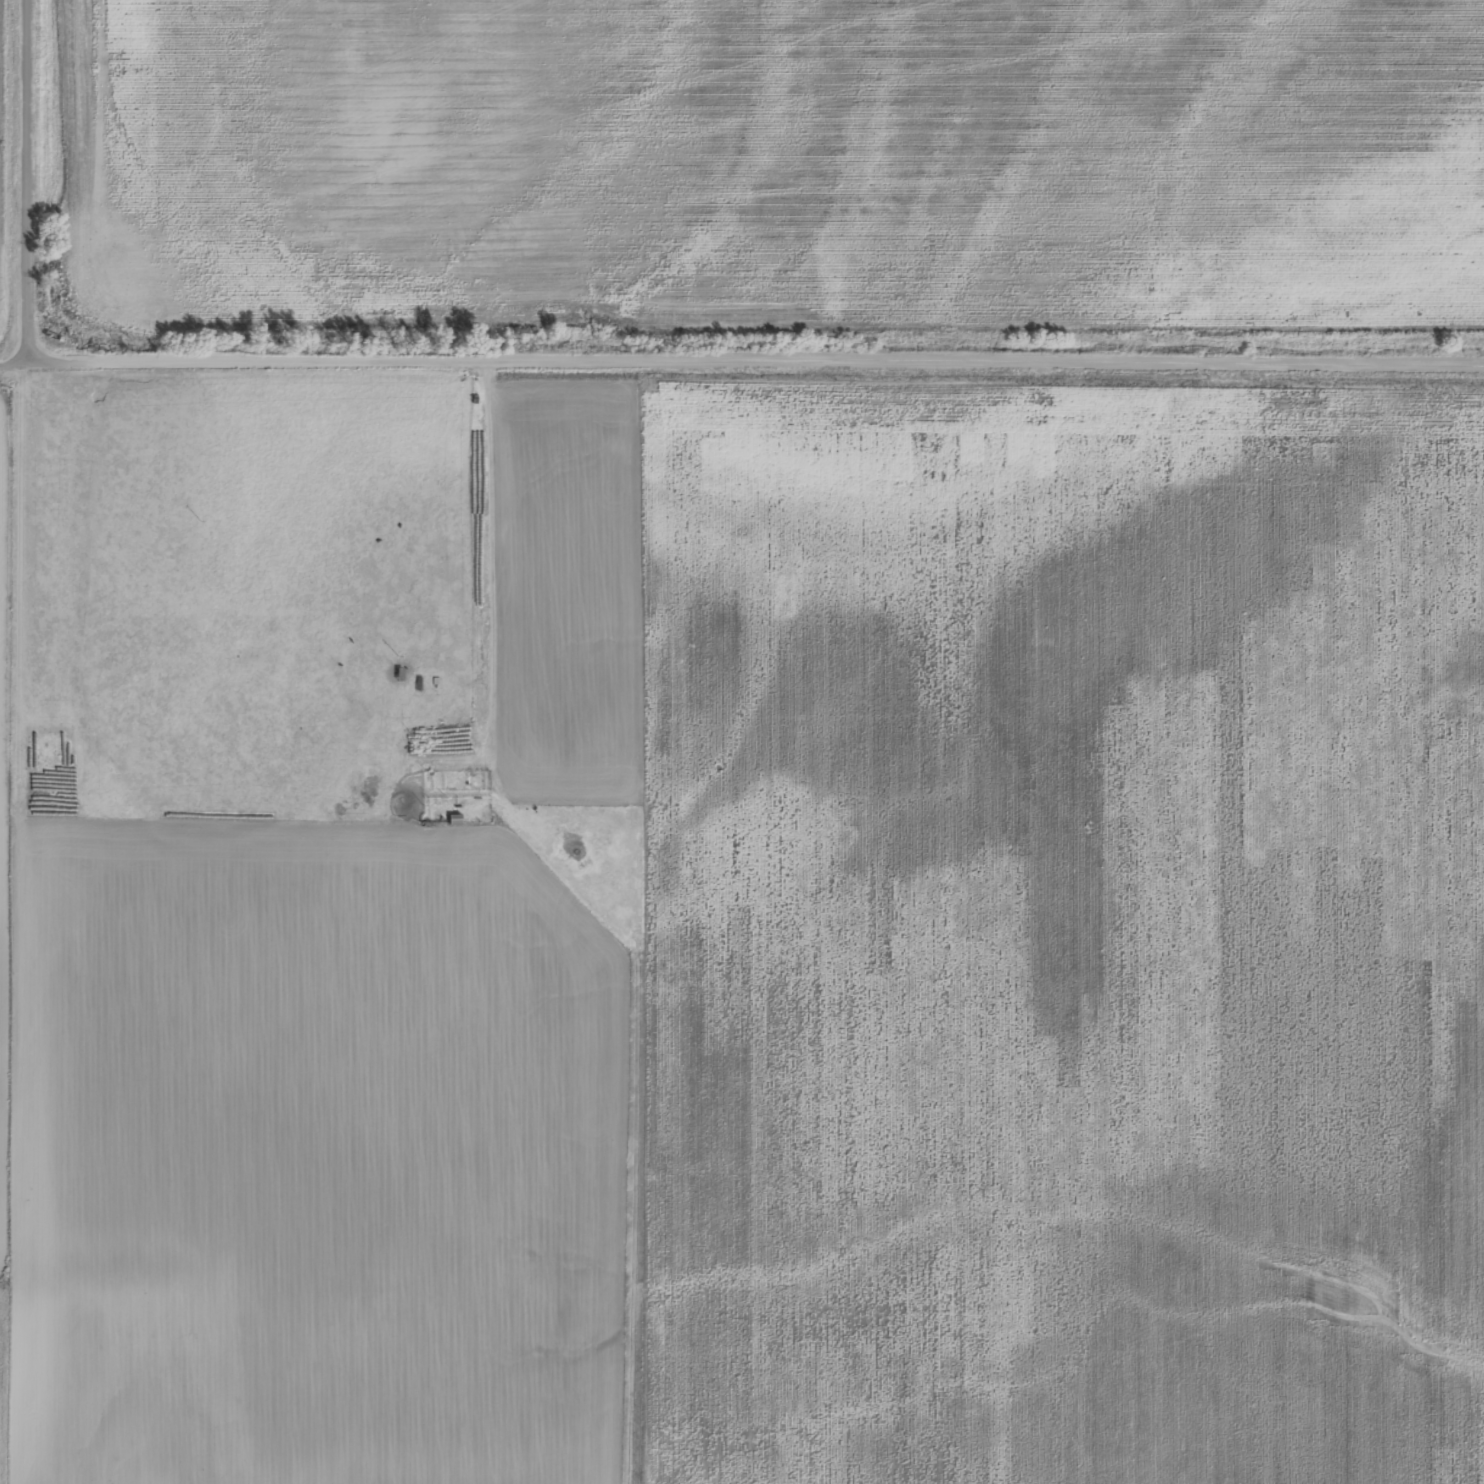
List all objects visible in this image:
road: (28, 181)
road: (756, 359)
road: (14, 363)
road: (504, 660)

